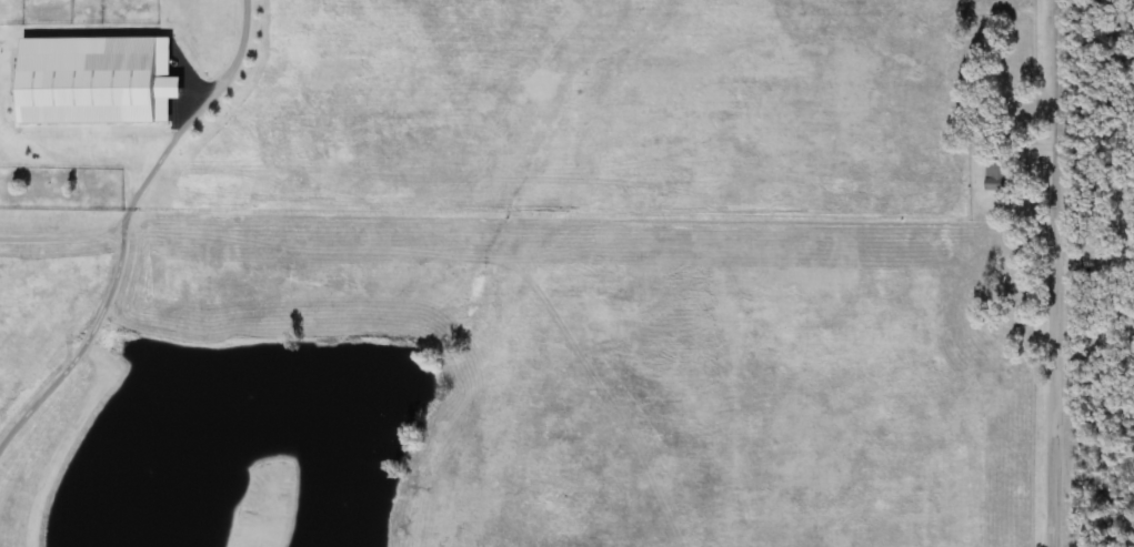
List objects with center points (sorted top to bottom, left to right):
building: (98, 80)
building: (998, 173)
road: (1098, 189)
road: (126, 219)
road: (61, 240)
road: (1058, 273)

